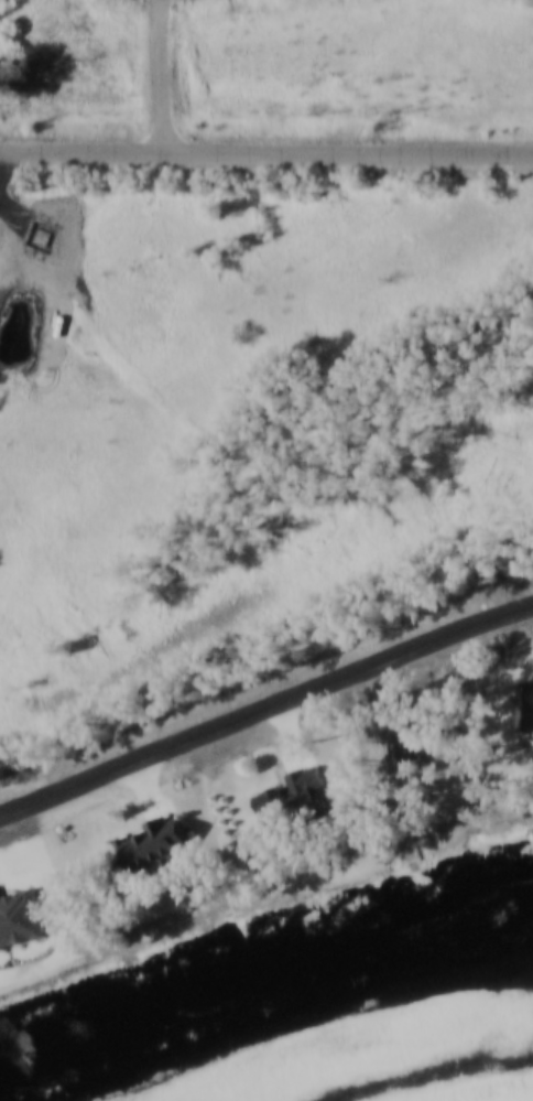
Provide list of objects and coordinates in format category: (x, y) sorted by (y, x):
road: (265, 159)
building: (526, 705)
road: (266, 714)
road: (296, 738)
building: (409, 747)
road: (152, 790)
building: (295, 798)
building: (156, 843)
building: (21, 918)
river: (265, 979)

